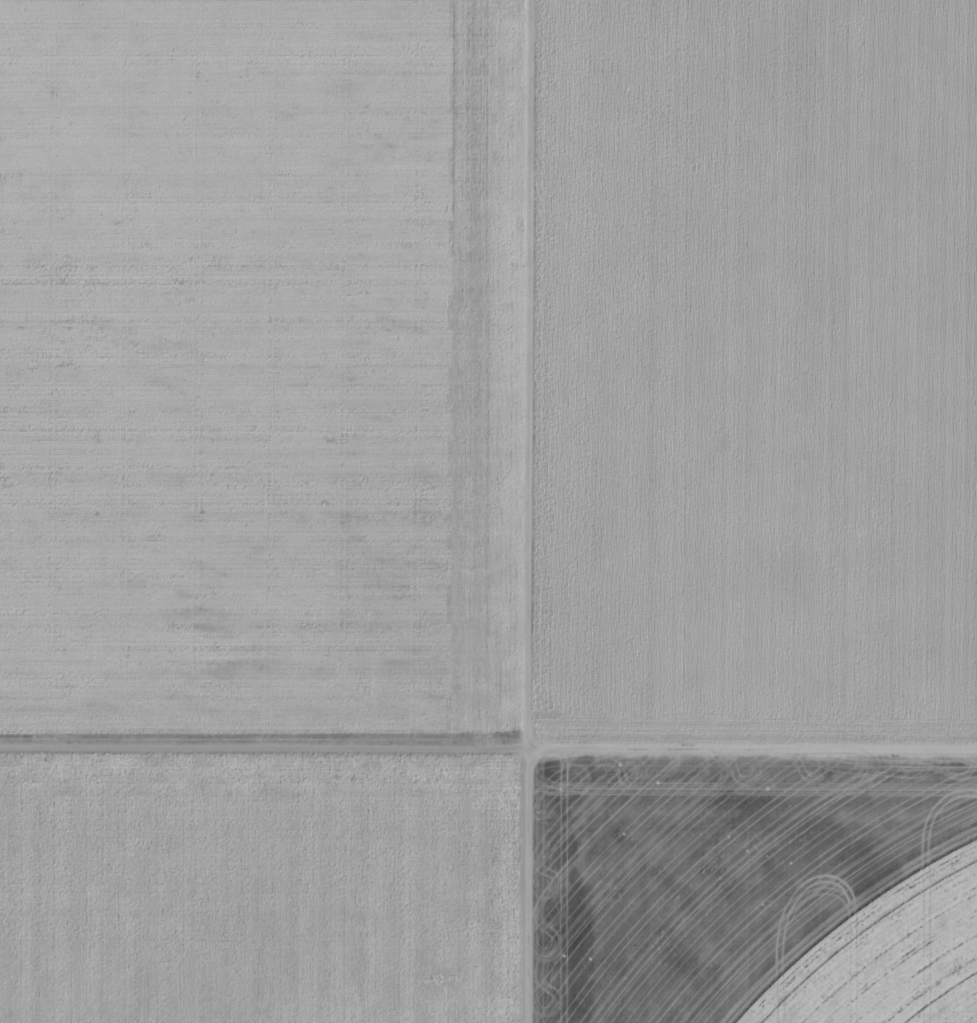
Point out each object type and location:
road: (639, 743)

